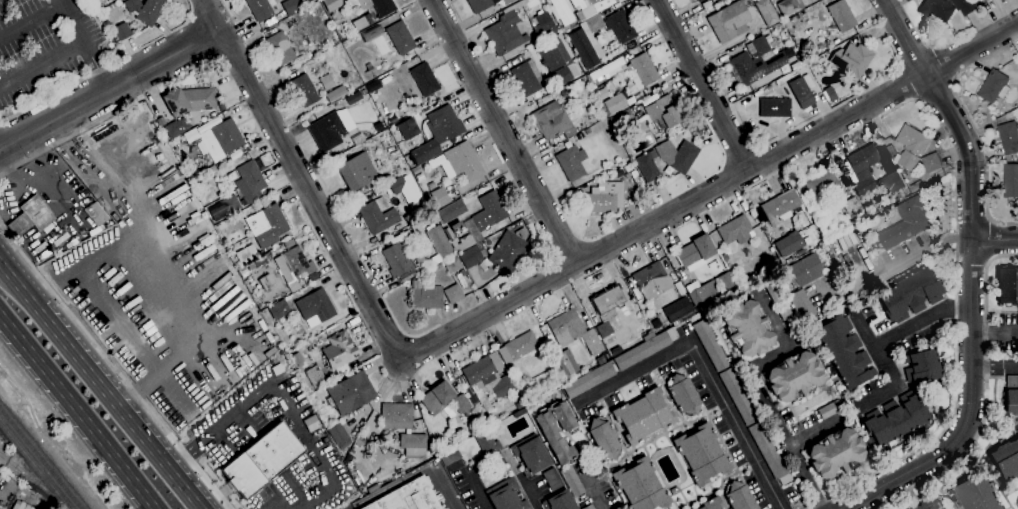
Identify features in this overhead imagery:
building: (94, 0)
building: (696, 0)
building: (698, 0)
building: (981, 0)
building: (985, 0)
building: (505, 1)
building: (593, 1)
building: (331, 4)
building: (373, 5)
building: (480, 5)
building: (791, 5)
building: (291, 6)
building: (966, 6)
building: (261, 8)
building: (562, 10)
building: (150, 11)
building: (937, 11)
building: (766, 12)
building: (841, 15)
building: (334, 17)
road: (32, 18)
building: (365, 19)
building: (728, 20)
building: (543, 26)
building: (620, 26)
building: (122, 31)
building: (372, 32)
building: (505, 33)
building: (399, 37)
road: (904, 37)
building: (587, 41)
road: (87, 43)
building: (281, 48)
parking lot: (46, 49)
building: (301, 59)
building: (852, 59)
building: (558, 60)
building: (756, 62)
road: (43, 63)
building: (608, 68)
building: (642, 71)
building: (1012, 75)
building: (528, 77)
building: (425, 79)
building: (327, 81)
road: (704, 85)
building: (994, 87)
road: (109, 88)
building: (304, 89)
road: (60, 91)
building: (801, 92)
building: (336, 93)
building: (831, 93)
building: (190, 101)
building: (615, 103)
building: (1017, 104)
building: (221, 106)
building: (775, 107)
building: (654, 113)
building: (1016, 114)
building: (611, 119)
building: (552, 121)
building: (444, 124)
building: (175, 127)
building: (406, 128)
building: (328, 130)
building: (587, 130)
building: (696, 132)
road: (504, 133)
building: (227, 135)
building: (580, 135)
road: (70, 137)
building: (191, 137)
building: (1009, 138)
building: (624, 141)
road: (3, 143)
building: (385, 143)
road: (3, 148)
building: (911, 148)
road: (3, 151)
building: (677, 155)
building: (863, 158)
building: (208, 159)
building: (459, 161)
building: (571, 162)
building: (932, 163)
building: (647, 165)
building: (628, 167)
building: (205, 169)
building: (417, 169)
building: (357, 171)
building: (619, 171)
building: (627, 174)
building: (420, 176)
building: (250, 181)
road: (304, 181)
building: (824, 181)
building: (1010, 181)
building: (889, 183)
building: (399, 184)
building: (863, 186)
building: (914, 188)
road: (710, 193)
building: (438, 194)
building: (605, 198)
building: (230, 204)
building: (852, 206)
building: (780, 207)
road: (985, 207)
building: (451, 211)
building: (378, 215)
building: (31, 216)
building: (95, 216)
building: (482, 219)
road: (988, 219)
building: (825, 221)
building: (906, 224)
building: (222, 225)
building: (267, 225)
building: (738, 230)
building: (522, 232)
road: (988, 239)
road: (994, 239)
building: (440, 242)
building: (787, 244)
building: (509, 251)
building: (695, 251)
building: (267, 256)
building: (470, 256)
building: (397, 260)
road: (988, 260)
road: (1, 261)
building: (738, 261)
road: (1, 263)
building: (452, 264)
building: (484, 264)
building: (294, 266)
building: (417, 270)
building: (804, 270)
building: (464, 273)
building: (405, 277)
building: (651, 277)
building: (726, 280)
building: (1007, 285)
building: (771, 290)
building: (701, 291)
building: (453, 293)
building: (425, 294)
building: (910, 294)
building: (608, 302)
building: (801, 304)
building: (315, 307)
building: (279, 309)
building: (678, 309)
building: (784, 312)
road: (971, 320)
road: (921, 321)
building: (747, 328)
building: (604, 329)
road: (994, 329)
building: (573, 331)
building: (710, 345)
building: (518, 346)
building: (339, 349)
building: (644, 349)
building: (844, 351)
building: (601, 359)
building: (568, 362)
road: (111, 366)
building: (922, 366)
road: (979, 366)
road: (994, 366)
road: (1010, 366)
road: (887, 368)
road: (638, 371)
building: (488, 375)
building: (315, 376)
building: (793, 376)
building: (589, 379)
building: (1012, 381)
road: (956, 385)
road: (101, 387)
road: (265, 387)
road: (759, 390)
building: (351, 392)
building: (516, 394)
building: (683, 395)
building: (738, 396)
road: (986, 398)
building: (444, 399)
building: (1012, 401)
building: (830, 408)
road: (79, 410)
building: (397, 415)
building: (643, 415)
building: (895, 418)
road: (738, 425)
building: (556, 430)
building: (339, 435)
building: (604, 437)
building: (412, 441)
building: (487, 443)
building: (769, 452)
building: (500, 453)
building: (701, 453)
building: (835, 453)
building: (531, 454)
building: (449, 456)
building: (1006, 458)
railway: (40, 459)
building: (261, 459)
railway: (35, 465)
building: (367, 469)
building: (552, 478)
railway: (34, 479)
road: (521, 479)
building: (572, 481)
building: (640, 485)
road: (476, 487)
building: (974, 493)
building: (505, 495)
building: (739, 496)
building: (407, 497)
road: (310, 499)
building: (559, 501)
building: (712, 503)
building: (930, 504)
building: (23, 506)
building: (588, 506)
building: (10, 508)
building: (490, 508)

